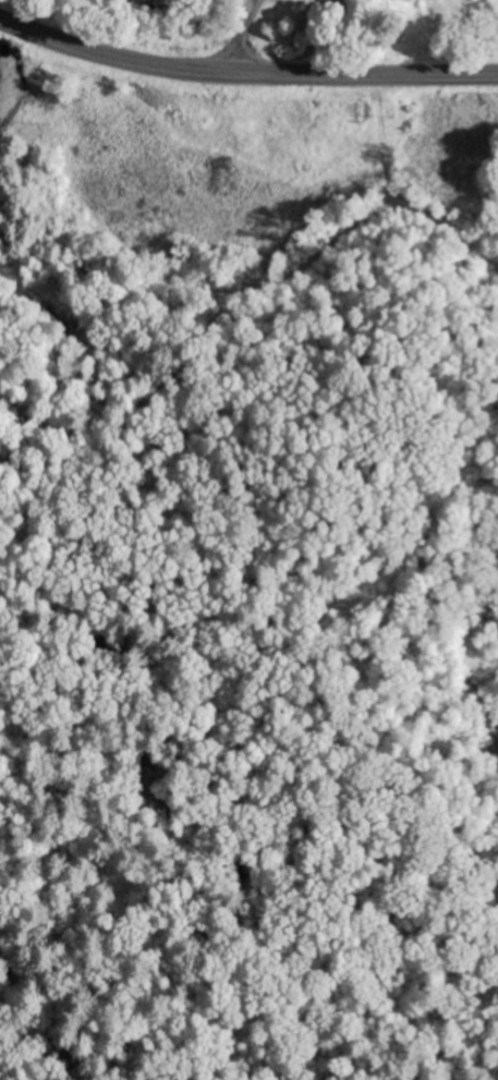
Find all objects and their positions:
road: (245, 80)

